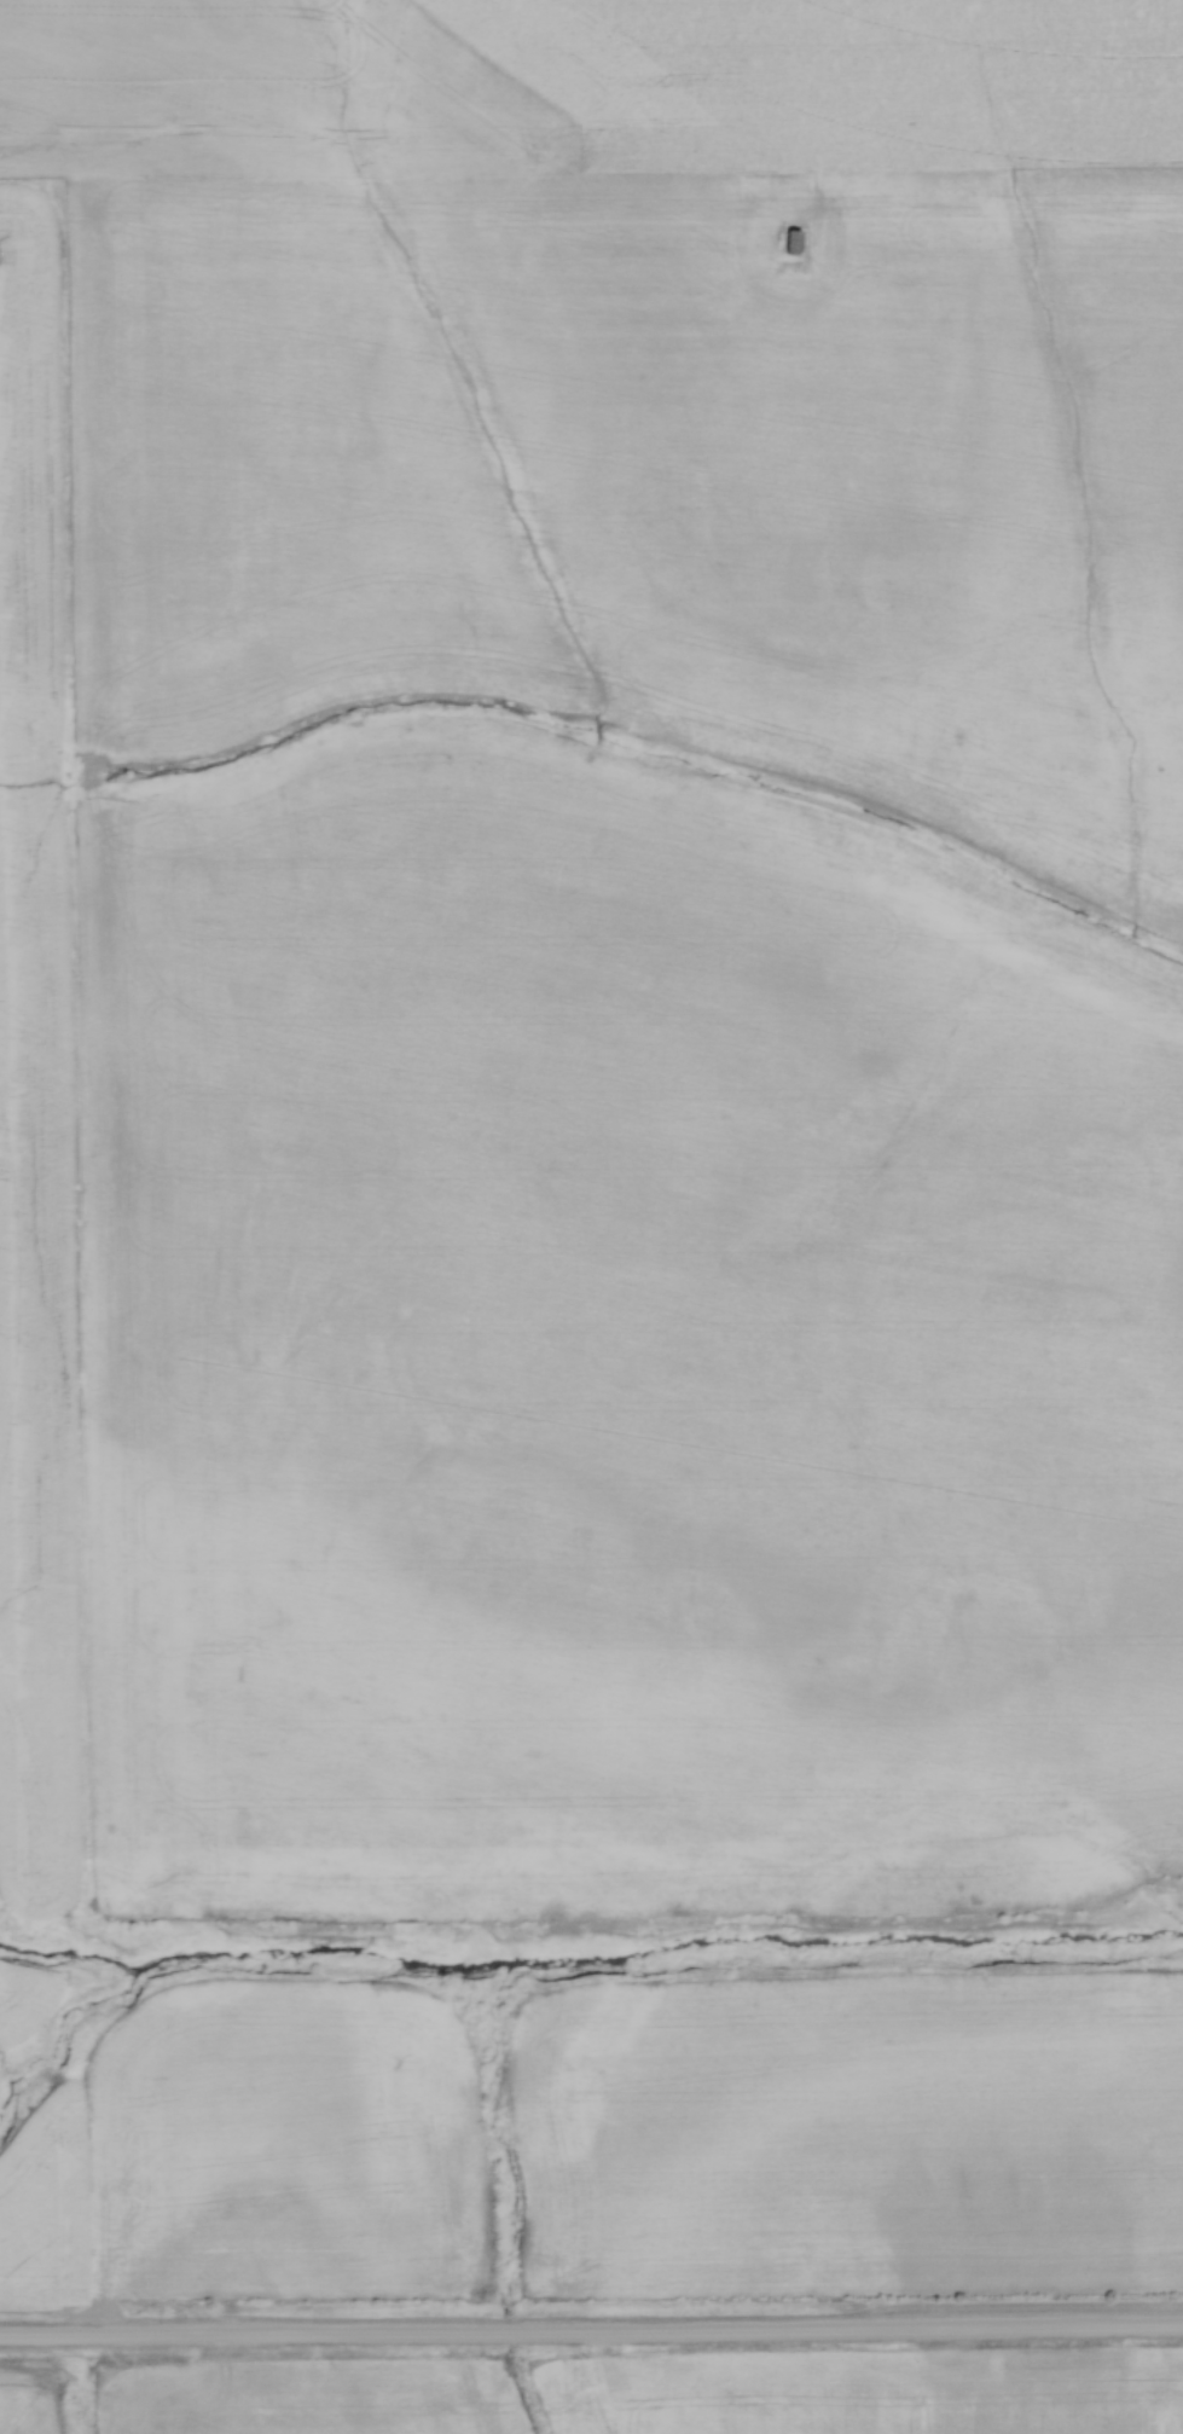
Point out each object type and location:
building: (790, 240)
power tower: (778, 243)
river: (586, 1966)
road: (591, 2339)

